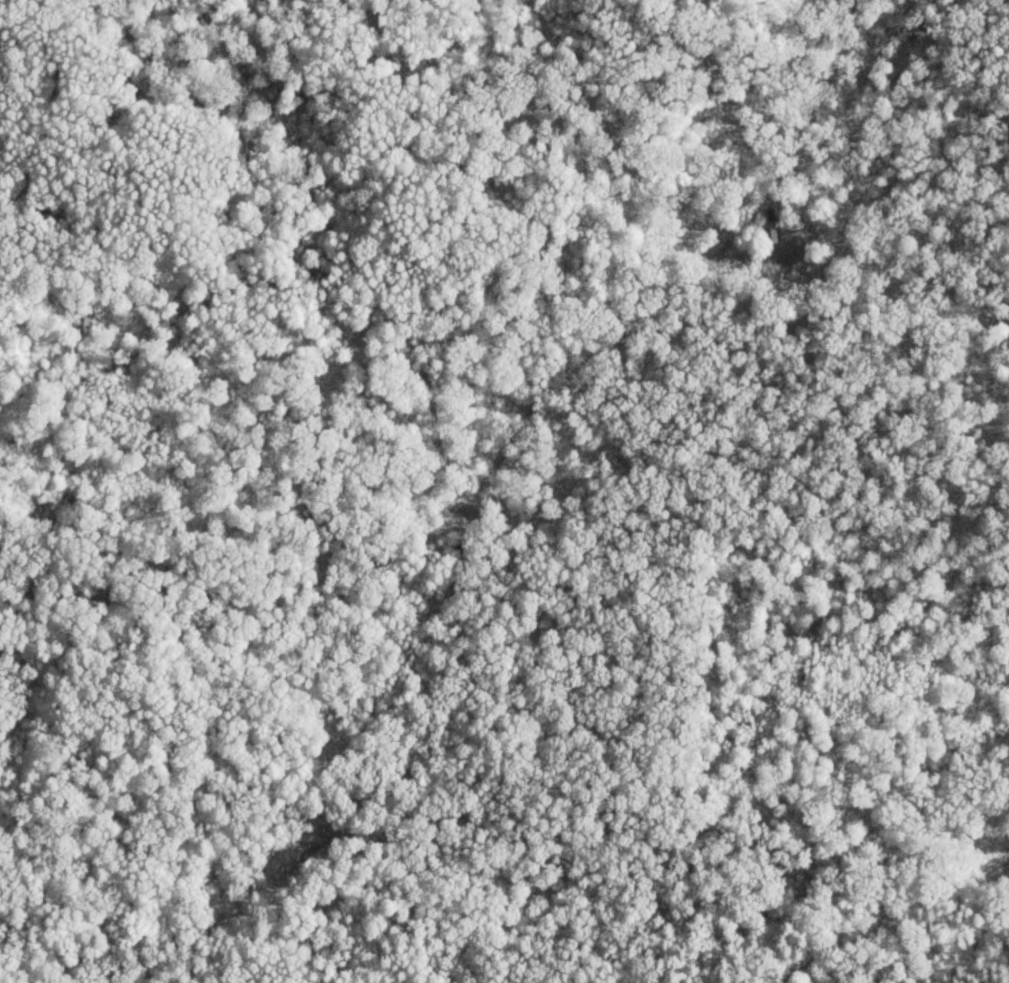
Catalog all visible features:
road: (24, 663)
road: (21, 946)

